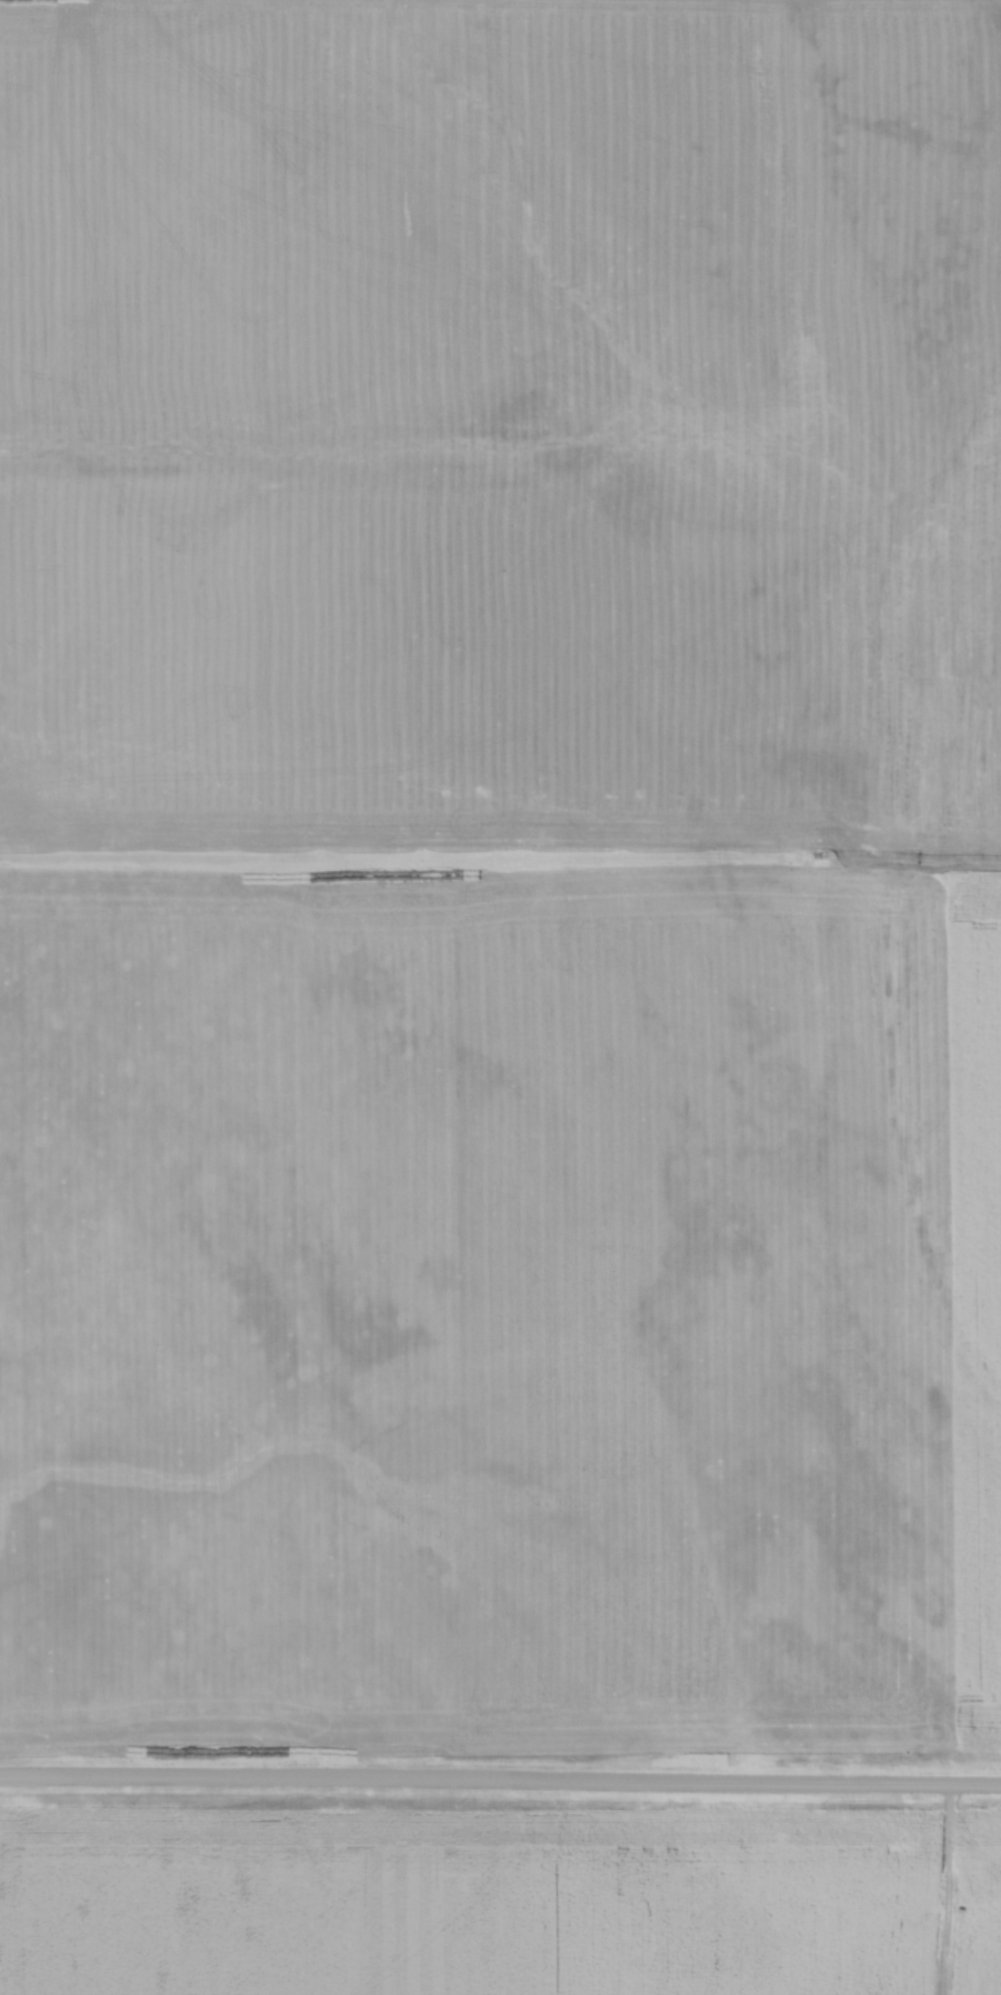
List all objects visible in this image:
road: (500, 1780)
road: (948, 1890)

